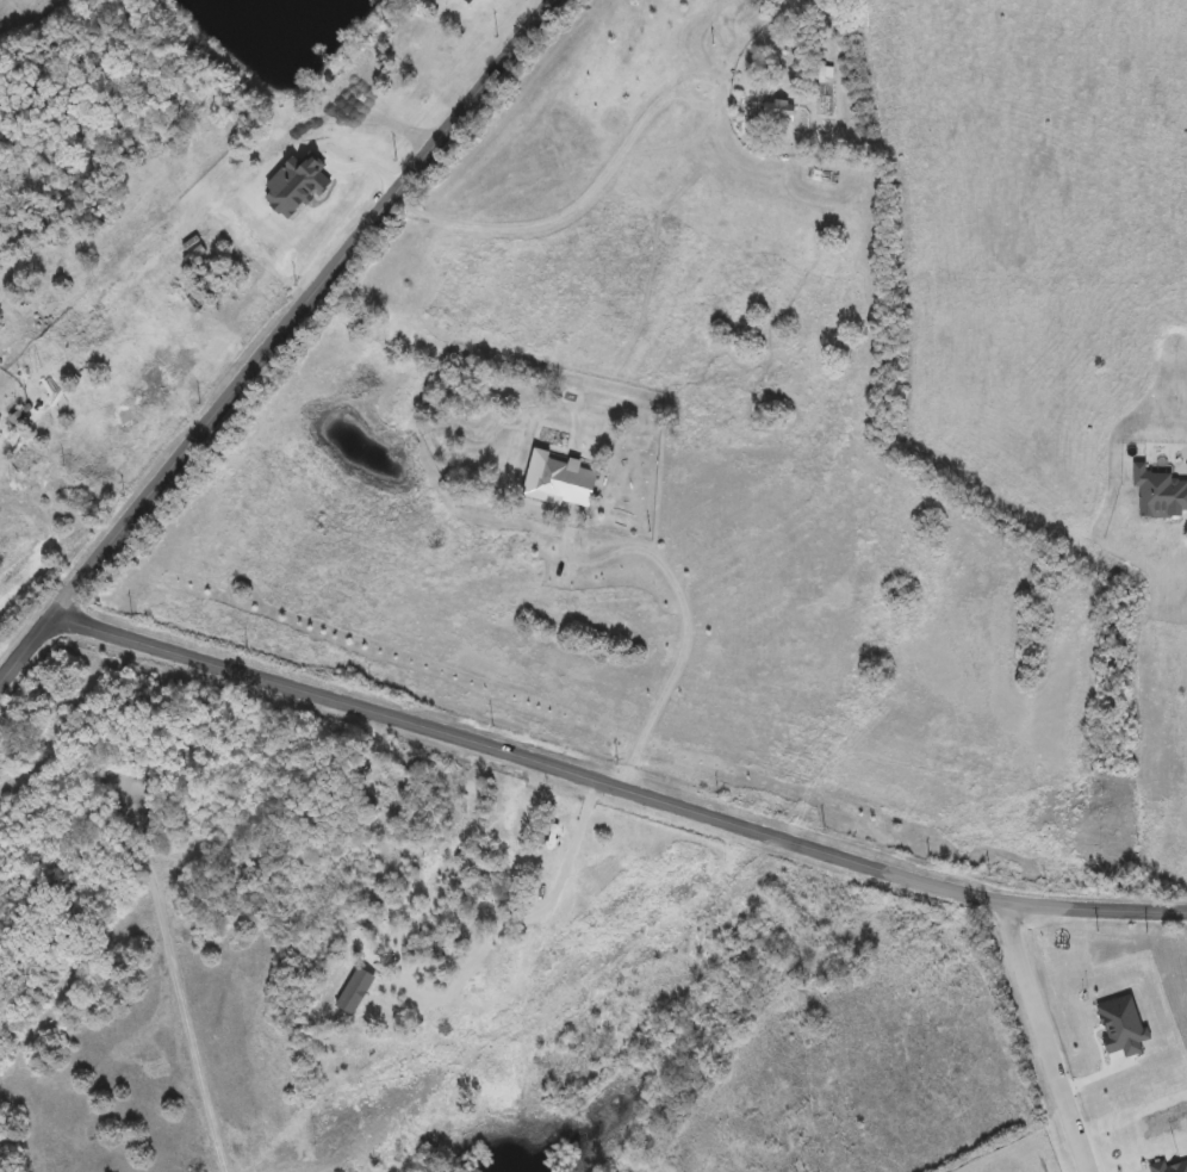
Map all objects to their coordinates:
building: (821, 74)
building: (776, 112)
road: (604, 176)
road: (279, 342)
building: (1158, 494)
road: (689, 615)
road: (620, 782)
road: (161, 914)
road: (1050, 1037)

